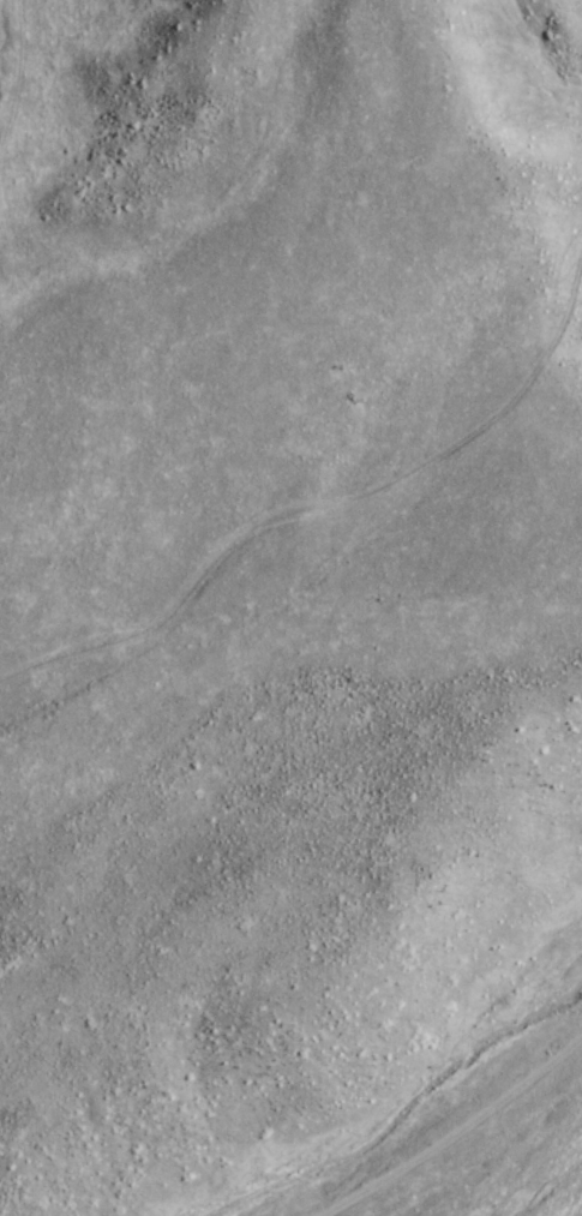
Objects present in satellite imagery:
road: (17, 68)
road: (10, 257)
road: (331, 504)
crop: (560, 1179)
road: (541, 1180)

